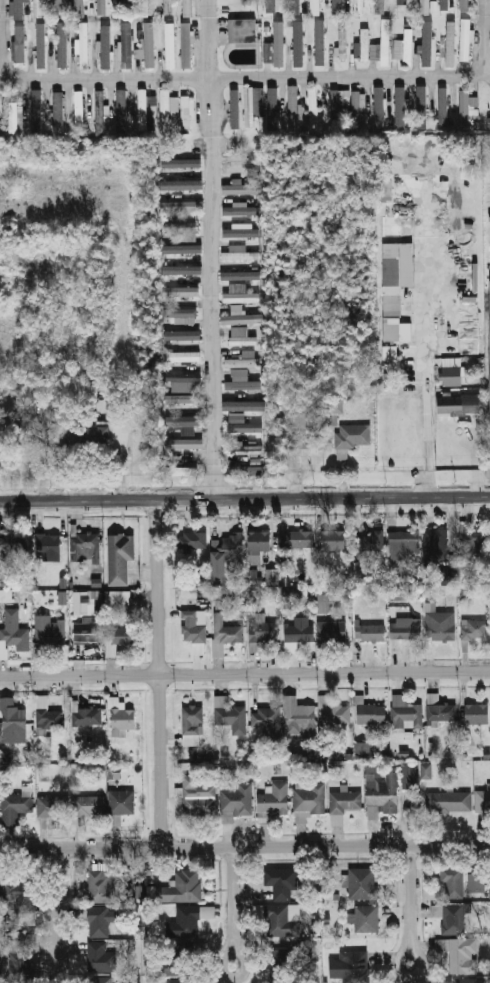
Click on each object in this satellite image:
building: (400, 1)
building: (167, 3)
building: (444, 4)
building: (464, 5)
building: (270, 6)
building: (57, 7)
building: (101, 7)
building: (293, 7)
building: (315, 7)
building: (358, 7)
building: (380, 7)
building: (425, 7)
building: (38, 8)
building: (78, 8)
building: (122, 8)
building: (144, 8)
building: (187, 8)
building: (337, 8)
building: (18, 10)
building: (243, 32)
building: (385, 42)
building: (147, 43)
building: (276, 43)
building: (298, 43)
building: (320, 43)
building: (465, 43)
building: (20, 44)
building: (362, 44)
building: (451, 44)
building: (39, 45)
building: (84, 45)
building: (105, 45)
building: (128, 45)
building: (170, 45)
building: (186, 45)
building: (343, 45)
building: (427, 45)
building: (62, 46)
building: (405, 48)
building: (374, 52)
building: (138, 53)
road: (274, 74)
building: (381, 104)
building: (424, 105)
building: (445, 105)
building: (79, 106)
building: (273, 106)
building: (335, 106)
building: (466, 106)
building: (144, 107)
building: (252, 107)
building: (313, 107)
building: (356, 107)
building: (401, 107)
building: (293, 108)
building: (236, 110)
building: (121, 111)
building: (165, 111)
building: (36, 112)
building: (57, 112)
building: (100, 113)
building: (186, 113)
building: (12, 117)
building: (489, 121)
building: (180, 162)
building: (242, 168)
building: (469, 171)
building: (182, 185)
building: (386, 188)
building: (242, 189)
building: (181, 205)
building: (241, 210)
building: (184, 230)
building: (238, 230)
road: (213, 248)
building: (179, 250)
building: (239, 253)
building: (183, 272)
building: (236, 273)
building: (397, 276)
building: (181, 291)
building: (241, 297)
building: (489, 313)
building: (180, 314)
building: (240, 317)
building: (397, 331)
building: (181, 334)
building: (241, 337)
building: (390, 353)
building: (183, 359)
building: (243, 360)
road: (425, 373)
building: (453, 375)
building: (183, 381)
building: (243, 385)
building: (25, 397)
building: (182, 398)
building: (459, 404)
building: (243, 406)
building: (333, 406)
building: (182, 420)
building: (301, 423)
building: (242, 424)
building: (21, 431)
building: (90, 435)
building: (354, 435)
building: (185, 443)
building: (246, 449)
road: (122, 455)
building: (246, 468)
building: (180, 471)
road: (244, 497)
building: (474, 537)
building: (192, 539)
building: (300, 540)
building: (334, 540)
building: (14, 542)
building: (368, 543)
building: (51, 544)
building: (259, 544)
building: (404, 544)
building: (87, 545)
building: (435, 546)
building: (224, 549)
building: (120, 557)
building: (445, 576)
building: (253, 577)
building: (291, 591)
building: (398, 593)
building: (62, 597)
building: (118, 598)
building: (325, 600)
building: (85, 602)
building: (441, 626)
building: (406, 628)
building: (475, 630)
building: (334, 631)
building: (86, 632)
building: (194, 632)
building: (298, 632)
building: (372, 632)
building: (261, 633)
building: (50, 634)
building: (225, 636)
building: (118, 638)
building: (13, 639)
road: (159, 672)
road: (245, 673)
building: (440, 709)
building: (333, 712)
building: (371, 713)
building: (405, 713)
building: (478, 714)
building: (121, 715)
building: (230, 715)
building: (13, 716)
building: (87, 716)
building: (46, 718)
building: (268, 719)
building: (300, 719)
building: (192, 725)
building: (362, 749)
building: (425, 771)
building: (408, 776)
building: (381, 790)
building: (198, 796)
building: (309, 797)
building: (236, 798)
building: (274, 799)
building: (448, 801)
building: (483, 801)
building: (121, 802)
building: (17, 804)
building: (344, 804)
building: (52, 806)
building: (88, 806)
road: (244, 845)
building: (281, 877)
building: (453, 881)
building: (476, 882)
building: (362, 883)
building: (102, 886)
building: (181, 887)
building: (139, 891)
building: (21, 894)
road: (411, 904)
road: (234, 906)
building: (258, 910)
road: (57, 916)
building: (367, 918)
building: (452, 918)
building: (278, 920)
building: (100, 921)
building: (184, 922)
building: (460, 954)
building: (101, 956)
building: (18, 965)
building: (352, 965)
building: (171, 966)
building: (281, 972)
building: (102, 980)
building: (468, 980)
building: (174, 981)

